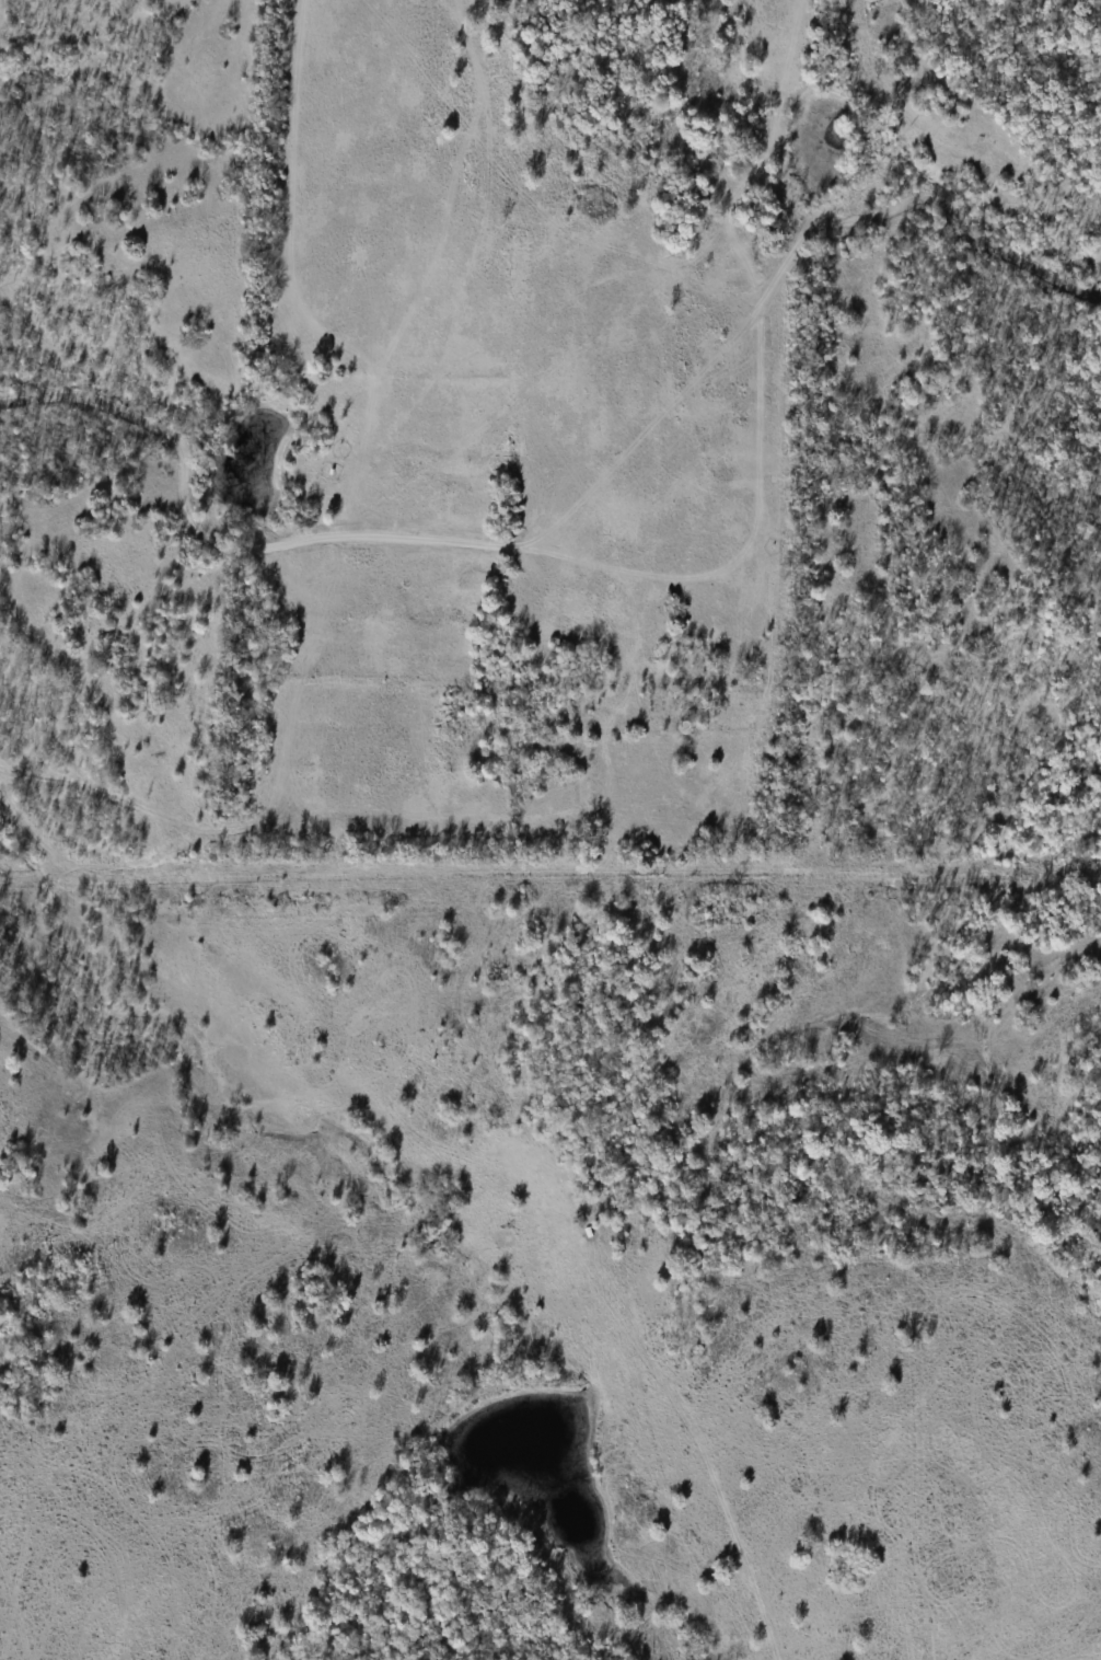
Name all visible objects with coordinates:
road: (708, 1575)

